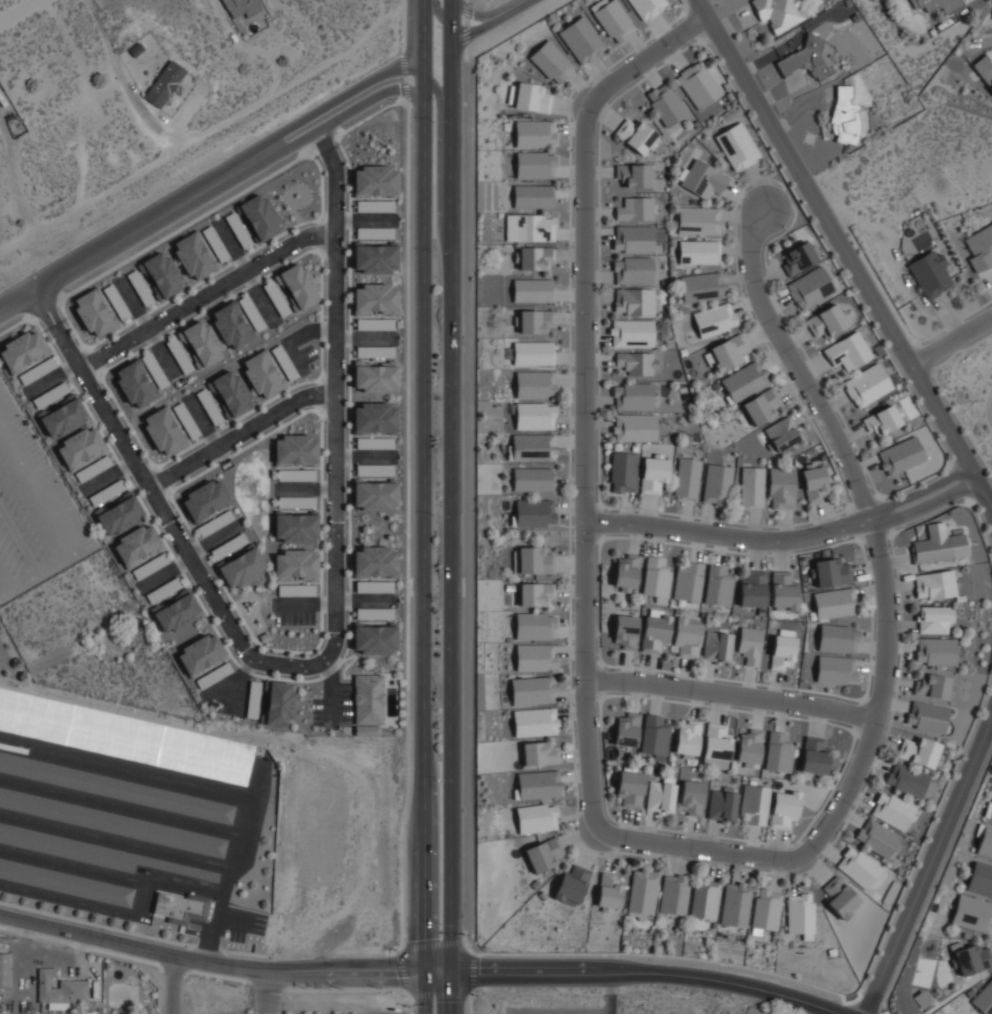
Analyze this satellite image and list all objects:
building: (937, 4)
building: (240, 6)
road: (507, 6)
building: (646, 7)
road: (20, 11)
building: (778, 12)
road: (470, 13)
building: (613, 19)
road: (444, 21)
road: (472, 28)
road: (407, 36)
building: (582, 39)
building: (806, 59)
building: (551, 61)
building: (984, 68)
building: (164, 82)
building: (698, 83)
road: (333, 95)
building: (529, 96)
building: (665, 102)
road: (338, 112)
building: (844, 114)
building: (534, 132)
building: (637, 135)
building: (736, 145)
building: (535, 165)
road: (436, 168)
building: (632, 174)
building: (702, 177)
building: (374, 180)
building: (533, 196)
building: (374, 205)
building: (634, 208)
building: (260, 216)
building: (698, 220)
building: (529, 227)
building: (238, 228)
road: (126, 231)
building: (374, 232)
building: (632, 238)
building: (215, 242)
building: (979, 245)
building: (698, 251)
building: (194, 254)
road: (847, 255)
building: (798, 257)
building: (374, 258)
building: (534, 258)
building: (632, 269)
building: (931, 272)
building: (155, 277)
building: (298, 285)
building: (702, 285)
building: (810, 287)
road: (201, 289)
building: (531, 289)
building: (374, 298)
building: (116, 300)
building: (633, 300)
road: (52, 305)
building: (94, 311)
road: (37, 315)
building: (715, 318)
building: (828, 320)
building: (237, 321)
building: (535, 321)
building: (374, 323)
building: (631, 332)
road: (952, 344)
building: (194, 345)
building: (374, 350)
building: (848, 350)
building: (729, 351)
building: (533, 353)
building: (26, 355)
building: (637, 361)
building: (263, 374)
building: (374, 377)
building: (140, 379)
building: (745, 380)
building: (867, 384)
building: (534, 385)
building: (231, 393)
building: (49, 394)
building: (632, 395)
building: (209, 405)
building: (762, 406)
building: (64, 417)
building: (534, 417)
building: (374, 418)
building: (185, 419)
building: (883, 419)
building: (634, 427)
road: (231, 429)
building: (163, 430)
building: (781, 433)
building: (374, 442)
building: (81, 446)
building: (531, 447)
building: (297, 449)
building: (900, 455)
road: (844, 456)
building: (93, 467)
building: (622, 472)
building: (296, 474)
building: (654, 475)
building: (687, 477)
building: (532, 479)
building: (814, 481)
building: (717, 484)
building: (751, 486)
building: (781, 488)
building: (106, 492)
building: (375, 495)
building: (204, 498)
building: (296, 501)
road: (451, 506)
road: (423, 507)
building: (534, 513)
building: (120, 514)
building: (296, 526)
road: (786, 539)
building: (137, 543)
building: (937, 544)
building: (228, 545)
building: (374, 560)
building: (533, 560)
building: (296, 564)
building: (149, 565)
building: (242, 567)
building: (827, 571)
building: (625, 572)
road: (587, 576)
building: (655, 578)
building: (688, 581)
building: (717, 585)
building: (934, 585)
building: (374, 586)
building: (752, 587)
building: (163, 589)
building: (296, 589)
building: (783, 590)
building: (536, 593)
building: (834, 602)
building: (177, 612)
building: (375, 613)
road: (326, 616)
building: (934, 619)
building: (534, 626)
building: (624, 630)
building: (654, 630)
building: (687, 634)
building: (838, 637)
building: (374, 638)
building: (717, 645)
building: (748, 646)
building: (782, 648)
building: (935, 651)
building: (201, 653)
building: (535, 656)
building: (835, 668)
building: (213, 674)
building: (930, 684)
building: (532, 690)
road: (732, 694)
building: (368, 699)
building: (253, 700)
building: (279, 703)
building: (926, 716)
building: (534, 721)
building: (626, 729)
building: (125, 736)
building: (654, 737)
building: (686, 738)
building: (716, 741)
building: (748, 746)
building: (917, 750)
building: (539, 752)
building: (777, 752)
building: (814, 755)
building: (715, 763)
building: (905, 779)
building: (538, 784)
building: (115, 788)
building: (629, 788)
building: (660, 794)
building: (690, 797)
building: (721, 803)
building: (753, 803)
building: (783, 807)
building: (989, 808)
building: (892, 811)
building: (537, 817)
building: (113, 822)
building: (876, 838)
building: (984, 840)
building: (99, 853)
building: (544, 853)
road: (930, 863)
building: (857, 866)
building: (980, 879)
building: (65, 882)
building: (572, 884)
building: (609, 891)
building: (642, 893)
building: (673, 893)
building: (704, 897)
building: (839, 897)
building: (735, 903)
building: (180, 905)
building: (765, 908)
building: (800, 912)
building: (972, 913)
road: (402, 933)
road: (432, 944)
road: (479, 953)
building: (972, 957)
building: (4, 968)
road: (401, 971)
road: (420, 972)
traffic signals: (427, 972)
traffic signals: (452, 972)
road: (473, 974)
road: (174, 986)
building: (60, 988)
road: (394, 988)
road: (440, 995)
building: (984, 997)
road: (471, 1002)

